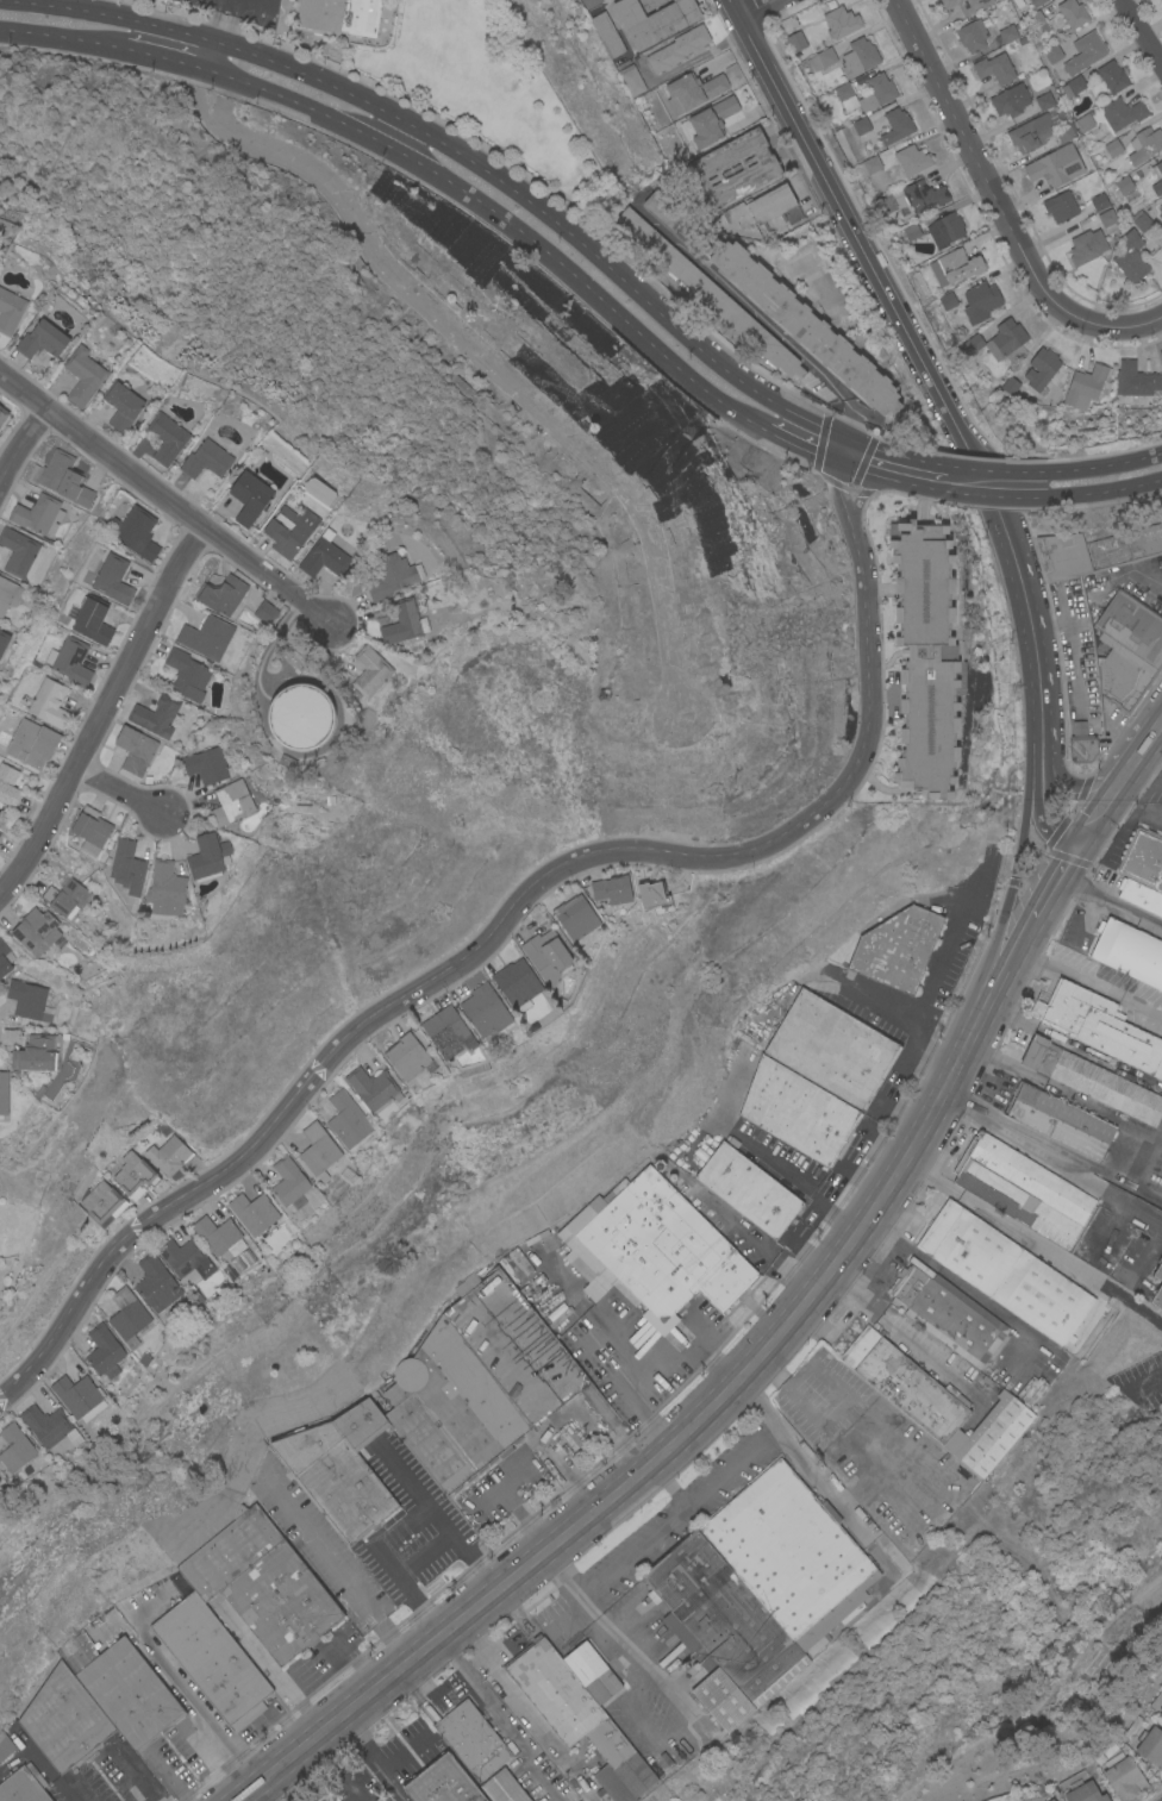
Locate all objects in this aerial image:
building: (1161, 0)
building: (588, 2)
road: (604, 2)
building: (1018, 2)
building: (1036, 2)
building: (650, 4)
building: (966, 5)
parking lot: (243, 8)
road: (756, 8)
building: (1072, 12)
building: (339, 15)
building: (654, 19)
building: (838, 19)
road: (220, 20)
building: (1036, 21)
road: (1141, 31)
building: (1007, 32)
building: (606, 33)
building: (972, 35)
road: (61, 37)
building: (795, 40)
building: (676, 48)
building: (1083, 52)
building: (1051, 54)
road: (212, 56)
building: (858, 56)
road: (164, 58)
building: (820, 58)
building: (994, 68)
building: (1111, 75)
building: (631, 79)
building: (1073, 86)
building: (876, 90)
building: (692, 92)
building: (845, 96)
building: (1010, 100)
building: (1044, 100)
road: (201, 101)
road: (227, 101)
building: (1122, 112)
building: (707, 121)
building: (1083, 121)
building: (861, 125)
building: (895, 125)
building: (1031, 132)
building: (1066, 132)
building: (1144, 144)
building: (1112, 148)
road: (466, 157)
building: (911, 158)
building: (867, 165)
building: (1055, 165)
building: (1157, 168)
building: (760, 169)
road: (983, 175)
building: (1123, 183)
building: (1157, 187)
building: (917, 196)
building: (1098, 201)
building: (886, 204)
building: (1060, 206)
building: (1160, 206)
building: (760, 207)
building: (667, 212)
building: (1161, 217)
road: (501, 219)
building: (1107, 219)
building: (1141, 220)
building: (944, 229)
building: (911, 231)
building: (1086, 245)
building: (1130, 256)
building: (823, 261)
building: (954, 265)
building: (706, 292)
building: (945, 300)
building: (980, 301)
building: (10, 309)
road: (758, 313)
building: (804, 325)
road: (1131, 327)
building: (1005, 338)
building: (42, 339)
building: (973, 343)
road: (913, 344)
building: (1041, 368)
building: (83, 374)
building: (1135, 379)
road: (512, 382)
building: (1083, 386)
building: (1012, 387)
building: (121, 405)
building: (2, 413)
building: (167, 437)
traffic signals: (845, 439)
road: (21, 443)
road: (798, 446)
road: (842, 451)
road: (892, 455)
building: (206, 458)
traffic signals: (838, 463)
road: (858, 469)
road: (1086, 469)
road: (974, 470)
building: (63, 479)
road: (908, 483)
road: (1091, 493)
road: (979, 495)
building: (249, 496)
road: (838, 498)
road: (163, 499)
road: (857, 499)
building: (35, 513)
building: (289, 530)
building: (135, 531)
building: (20, 552)
building: (324, 557)
building: (392, 575)
building: (112, 577)
building: (8, 593)
building: (220, 594)
building: (263, 611)
building: (93, 620)
building: (402, 621)
building: (1100, 630)
building: (206, 636)
building: (4, 639)
building: (925, 657)
building: (69, 659)
building: (369, 670)
building: (186, 674)
building: (49, 702)
road: (1154, 705)
road: (104, 713)
building: (155, 715)
building: (300, 715)
storage tank: (300, 715)
building: (32, 743)
road: (1122, 749)
building: (133, 751)
road: (1060, 759)
building: (206, 765)
road: (1039, 783)
building: (8, 784)
road: (120, 793)
road: (1123, 794)
building: (230, 802)
road: (1085, 812)
road: (1139, 812)
building: (90, 828)
road: (1116, 833)
road: (1020, 852)
building: (206, 856)
building: (1143, 858)
building: (126, 867)
road: (1055, 878)
building: (164, 888)
building: (611, 889)
road: (1099, 893)
building: (1139, 895)
building: (65, 898)
building: (575, 915)
road: (1150, 918)
building: (36, 930)
road: (485, 940)
building: (897, 946)
building: (1129, 951)
building: (546, 955)
road: (1014, 956)
building: (5, 957)
road: (932, 974)
building: (517, 983)
road: (1089, 983)
building: (26, 999)
road: (877, 1007)
building: (485, 1009)
building: (1098, 1026)
building: (446, 1031)
building: (832, 1049)
building: (37, 1052)
building: (406, 1055)
road: (902, 1056)
building: (1091, 1080)
building: (371, 1087)
building: (2, 1092)
building: (798, 1111)
building: (346, 1119)
building: (1060, 1120)
road: (1030, 1146)
building: (317, 1147)
building: (168, 1153)
road: (774, 1158)
building: (133, 1174)
road: (864, 1178)
building: (288, 1181)
building: (748, 1188)
road: (821, 1188)
building: (1022, 1188)
road: (827, 1190)
building: (101, 1202)
road: (1118, 1208)
building: (255, 1213)
road: (839, 1218)
building: (218, 1234)
road: (1032, 1244)
building: (658, 1249)
road: (1150, 1249)
building: (185, 1262)
building: (1004, 1271)
building: (155, 1282)
road: (963, 1286)
building: (1157, 1286)
road: (806, 1302)
building: (948, 1313)
building: (126, 1315)
building: (102, 1347)
road: (646, 1362)
building: (479, 1381)
road: (1139, 1382)
building: (1031, 1389)
building: (79, 1396)
building: (936, 1402)
building: (49, 1425)
building: (14, 1446)
building: (32, 1463)
building: (339, 1468)
road: (666, 1483)
road: (499, 1487)
road: (694, 1493)
road: (830, 1495)
road: (523, 1520)
road: (333, 1565)
building: (262, 1583)
road: (568, 1584)
building: (758, 1589)
building: (212, 1659)
road: (646, 1666)
road: (464, 1669)
road: (275, 1674)
road: (393, 1676)
building: (129, 1693)
road: (194, 1707)
building: (580, 1711)
building: (1160, 1714)
building: (63, 1719)
building: (471, 1737)
building: (5, 1745)
building: (1150, 1745)
road: (521, 1750)
road: (343, 1769)
road: (380, 1770)
building: (1123, 1776)
building: (442, 1782)
road: (142, 1784)
road: (293, 1784)
building: (23, 1786)
building: (502, 1787)
building: (1082, 1791)
building: (1050, 1800)

